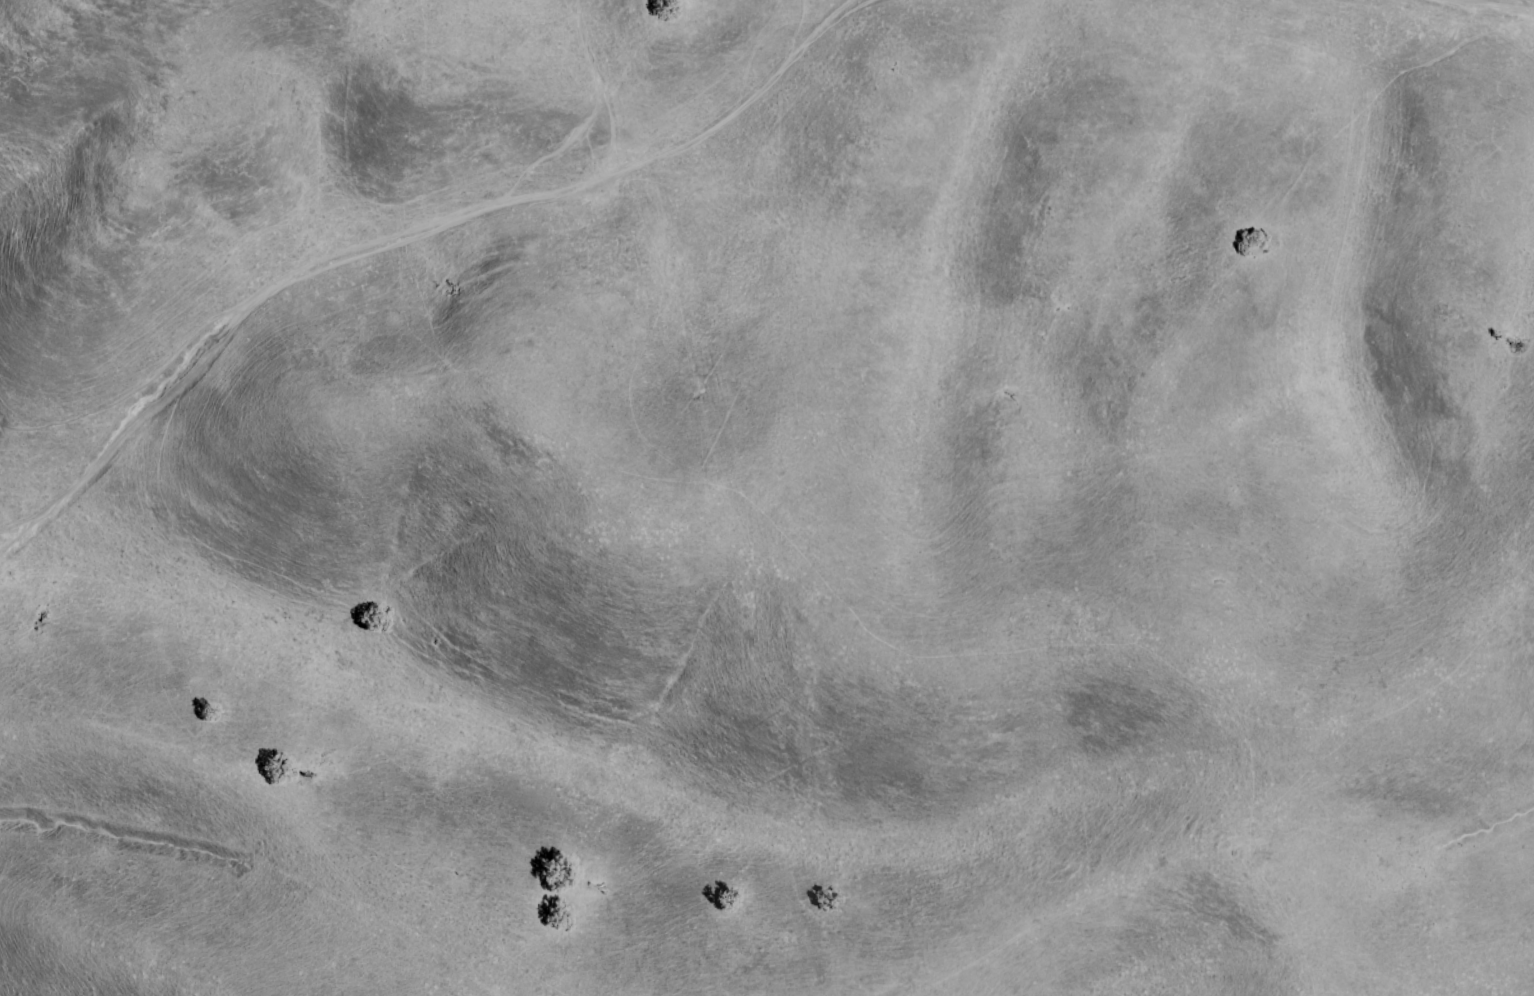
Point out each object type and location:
road: (1503, 10)
road: (1493, 26)
road: (600, 81)
road: (418, 233)
park: (767, 497)

